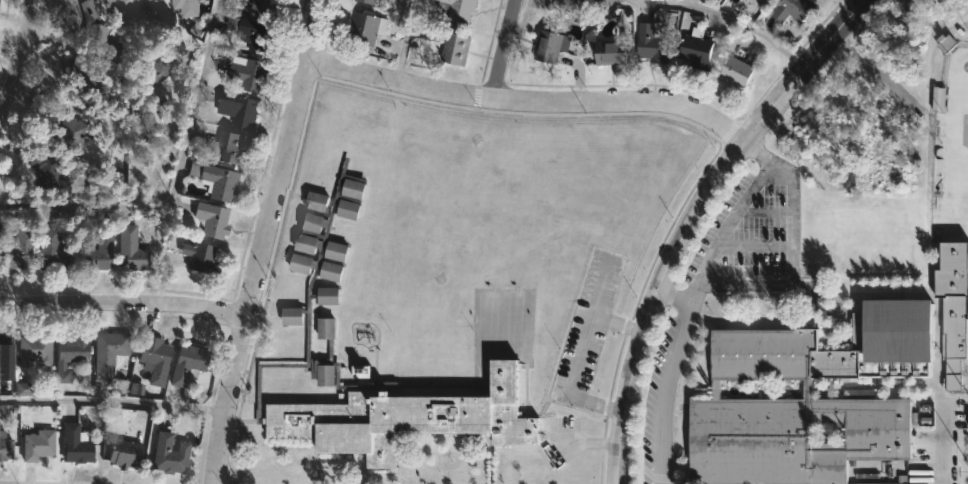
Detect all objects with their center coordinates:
road: (123, 1)
building: (365, 1)
road: (858, 1)
building: (562, 5)
building: (188, 7)
building: (262, 7)
building: (455, 10)
building: (791, 10)
road: (733, 15)
building: (365, 29)
building: (97, 34)
building: (252, 34)
road: (400, 40)
building: (650, 43)
building: (548, 46)
building: (449, 48)
road: (502, 49)
building: (694, 50)
building: (606, 53)
road: (20, 63)
building: (160, 66)
building: (733, 72)
building: (250, 74)
building: (85, 78)
road: (527, 101)
building: (240, 109)
building: (69, 129)
building: (227, 147)
park: (954, 158)
building: (48, 171)
building: (213, 180)
road: (173, 182)
road: (763, 212)
road: (690, 219)
building: (209, 220)
road: (265, 241)
building: (14, 242)
road: (790, 245)
road: (753, 246)
building: (131, 249)
building: (54, 251)
building: (101, 251)
building: (199, 258)
road: (673, 300)
building: (951, 304)
road: (121, 306)
building: (297, 310)
road: (688, 312)
road: (591, 314)
building: (451, 341)
building: (8, 349)
building: (38, 350)
building: (112, 351)
building: (72, 355)
building: (157, 358)
building: (190, 363)
road: (572, 382)
building: (120, 386)
building: (23, 389)
building: (805, 398)
road: (112, 401)
building: (78, 443)
road: (590, 443)
road: (948, 443)
building: (5, 444)
building: (40, 444)
building: (127, 452)
building: (172, 453)

